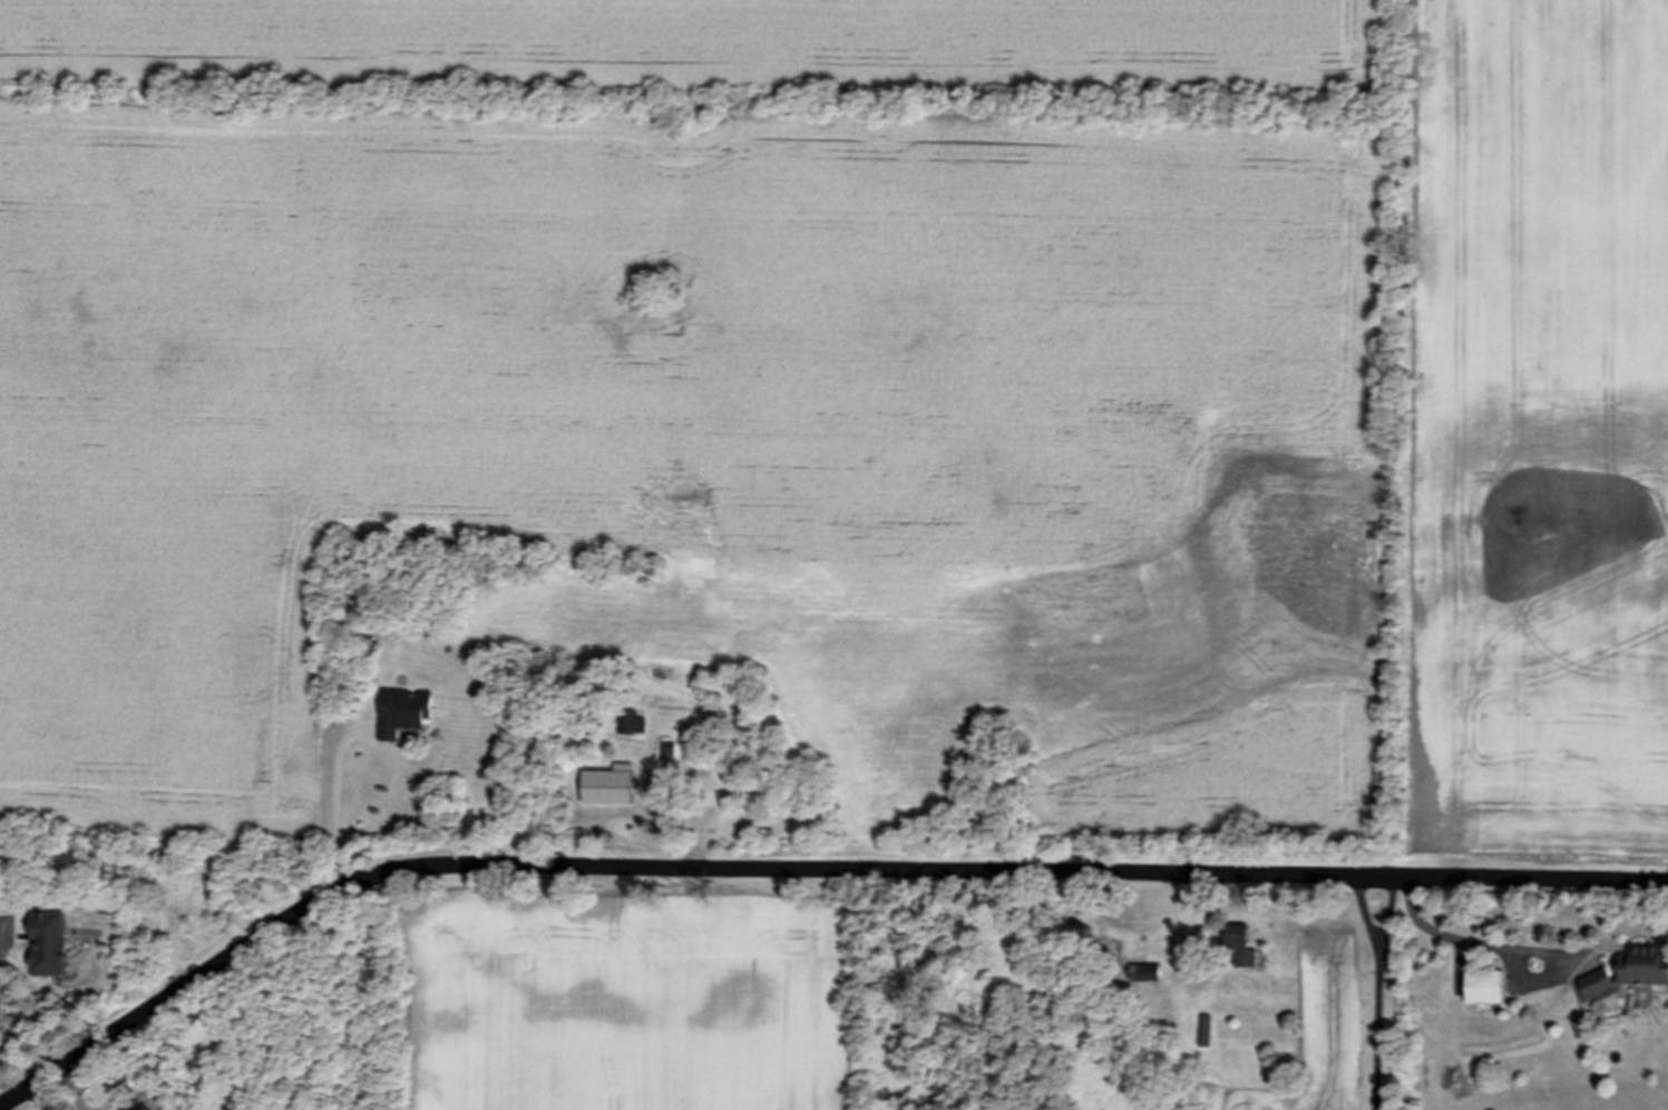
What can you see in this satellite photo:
building: (404, 712)
building: (634, 723)
building: (620, 796)
road: (340, 808)
road: (169, 853)
road: (801, 870)
road: (1465, 939)
building: (1242, 946)
building: (1645, 967)
building: (1147, 973)
building: (1486, 987)
building: (1599, 987)
road: (1383, 993)
building: (138, 1102)

